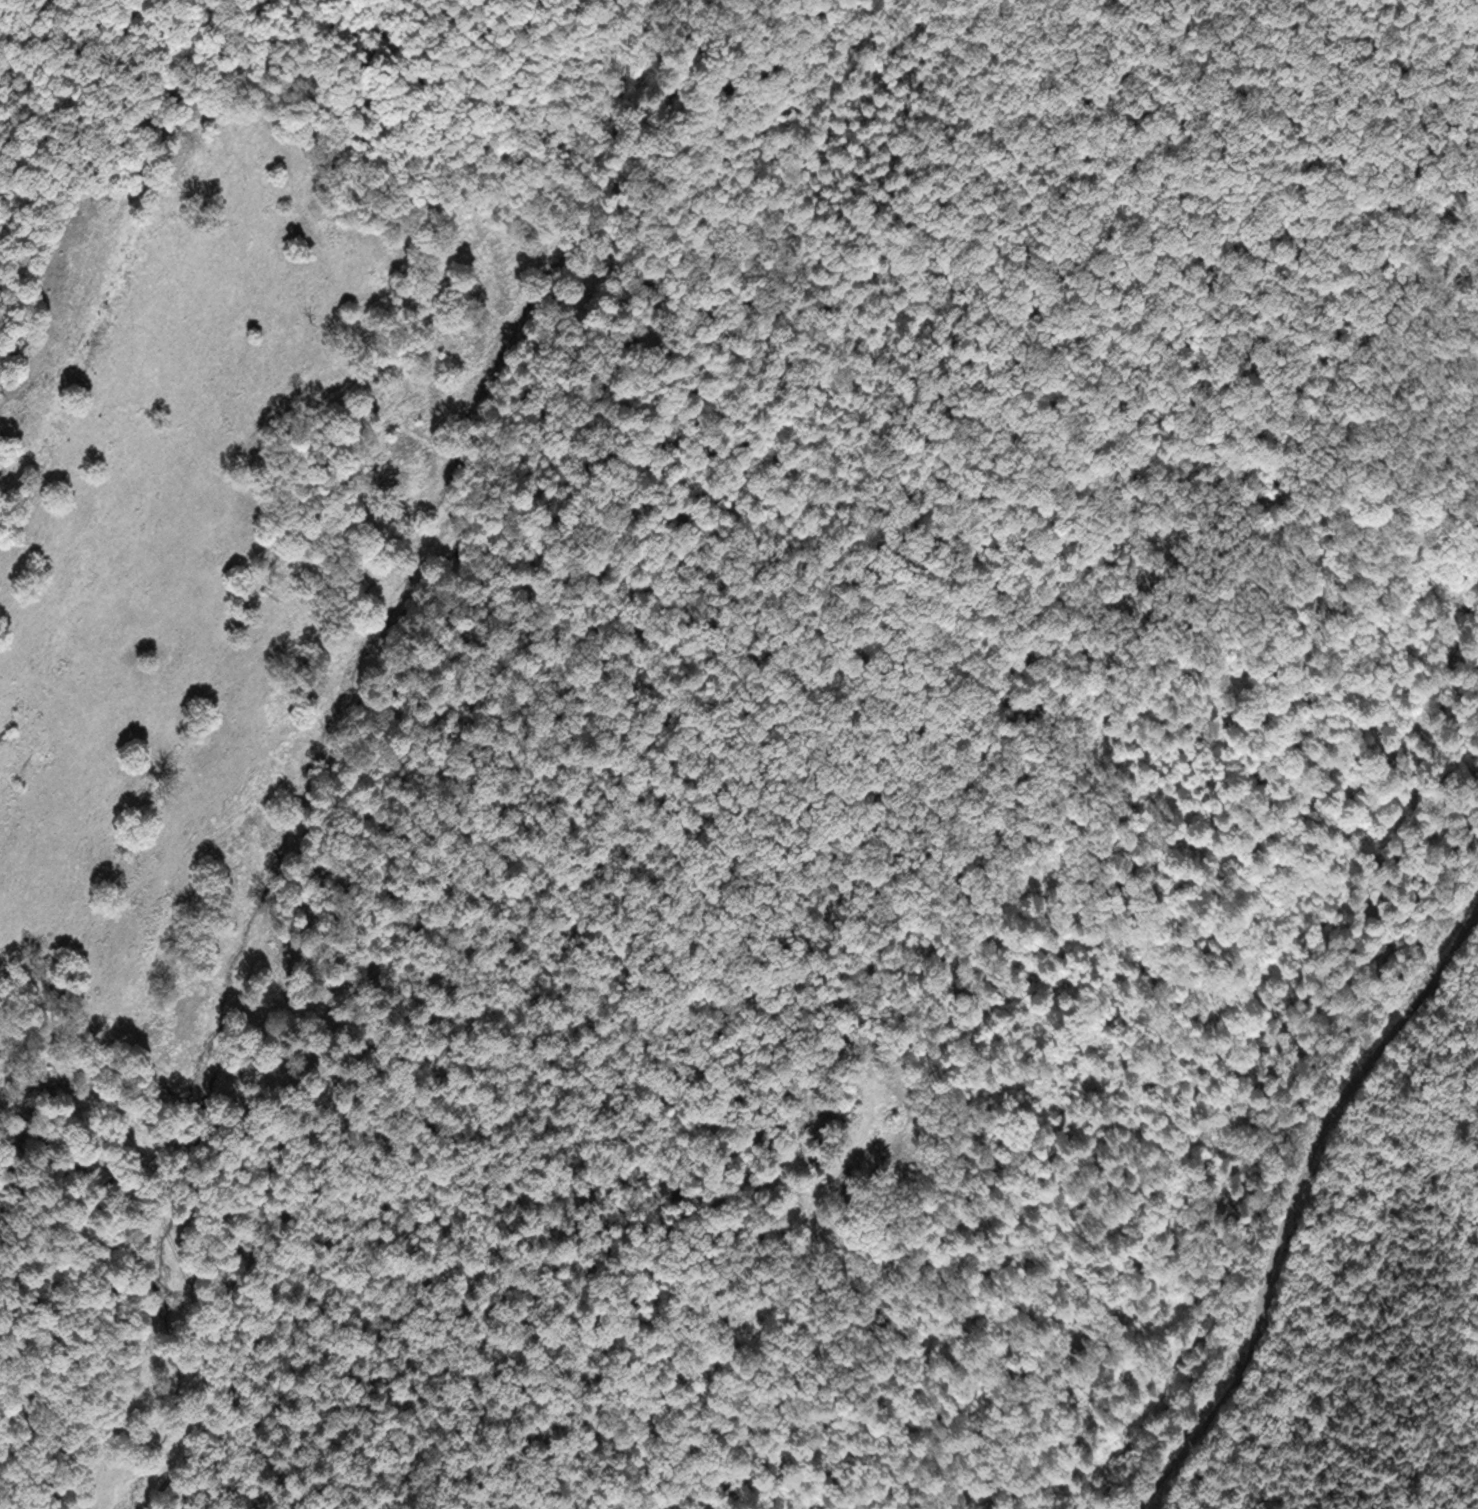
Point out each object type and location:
road: (1293, 1197)

